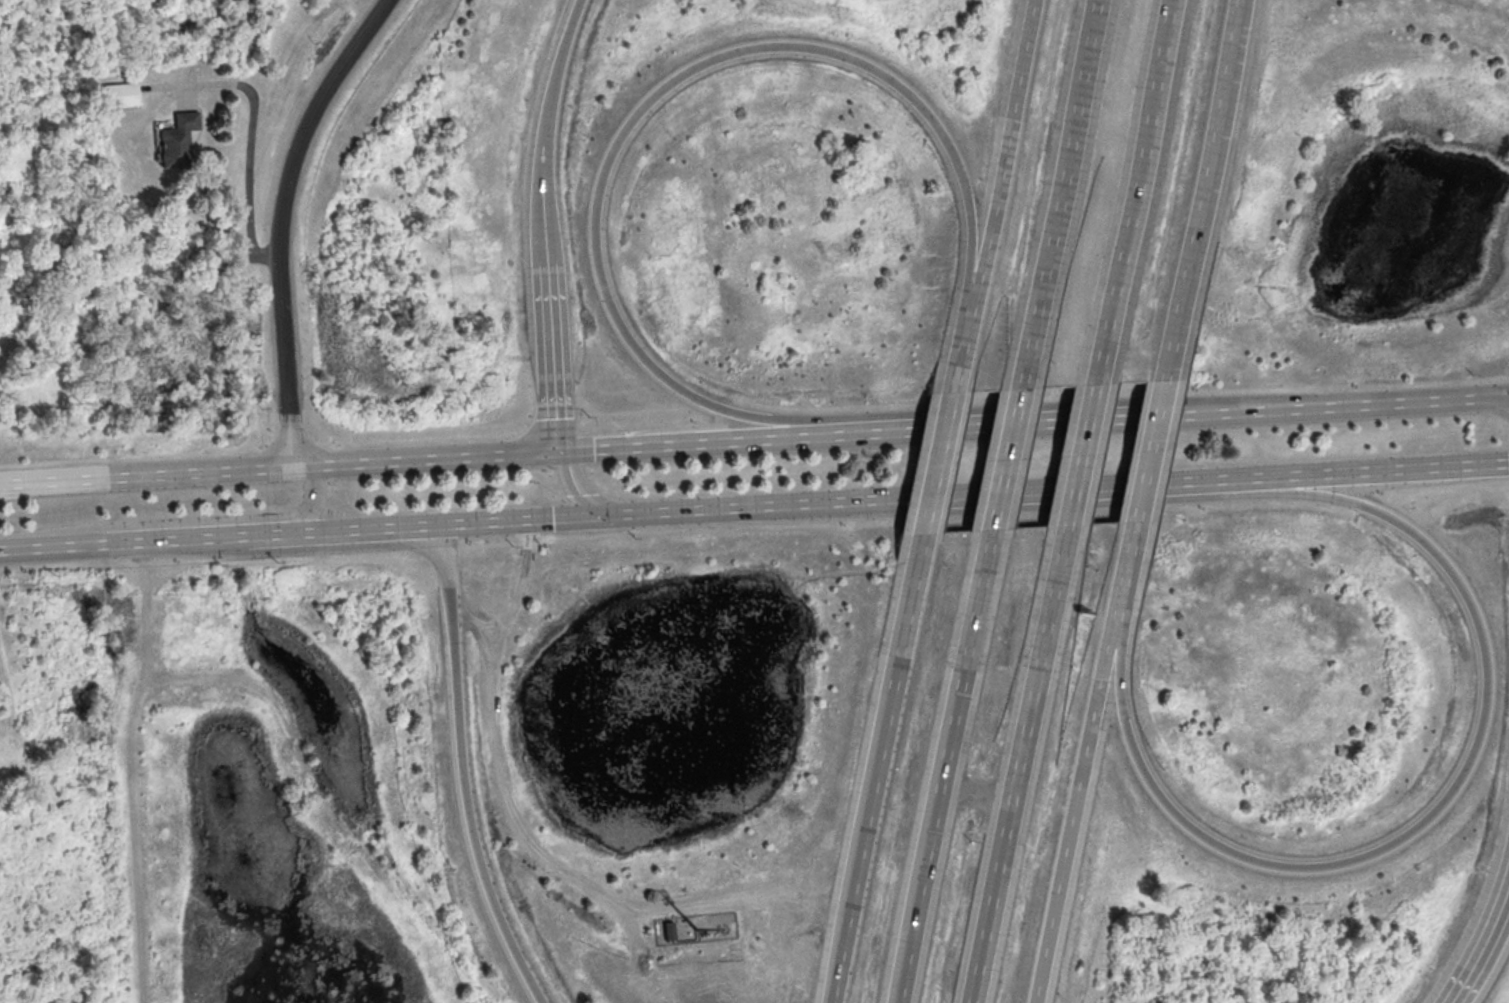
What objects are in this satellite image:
road: (557, 89)
building: (121, 94)
road: (188, 99)
road: (253, 127)
building: (179, 140)
road: (1203, 166)
road: (992, 191)
road: (1060, 195)
road: (598, 197)
road: (1132, 197)
road: (284, 218)
road: (548, 224)
road: (554, 358)
road: (1166, 363)
road: (1364, 402)
road: (1189, 412)
road: (858, 431)
traffic signals: (558, 449)
road: (938, 458)
road: (279, 464)
road: (1004, 465)
road: (1080, 466)
road: (1145, 468)
road: (1206, 481)
road: (575, 485)
road: (886, 500)
road: (657, 513)
traffic signals: (600, 517)
road: (179, 521)
road: (367, 530)
road: (261, 536)
road: (176, 541)
road: (59, 548)
road: (519, 582)
road: (908, 611)
road: (1490, 675)
road: (12, 713)
road: (465, 770)
road: (941, 771)
road: (1019, 771)
road: (1081, 773)
road: (976, 793)
road: (860, 846)
road: (537, 848)
building: (669, 927)
road: (635, 931)
road: (1484, 946)

